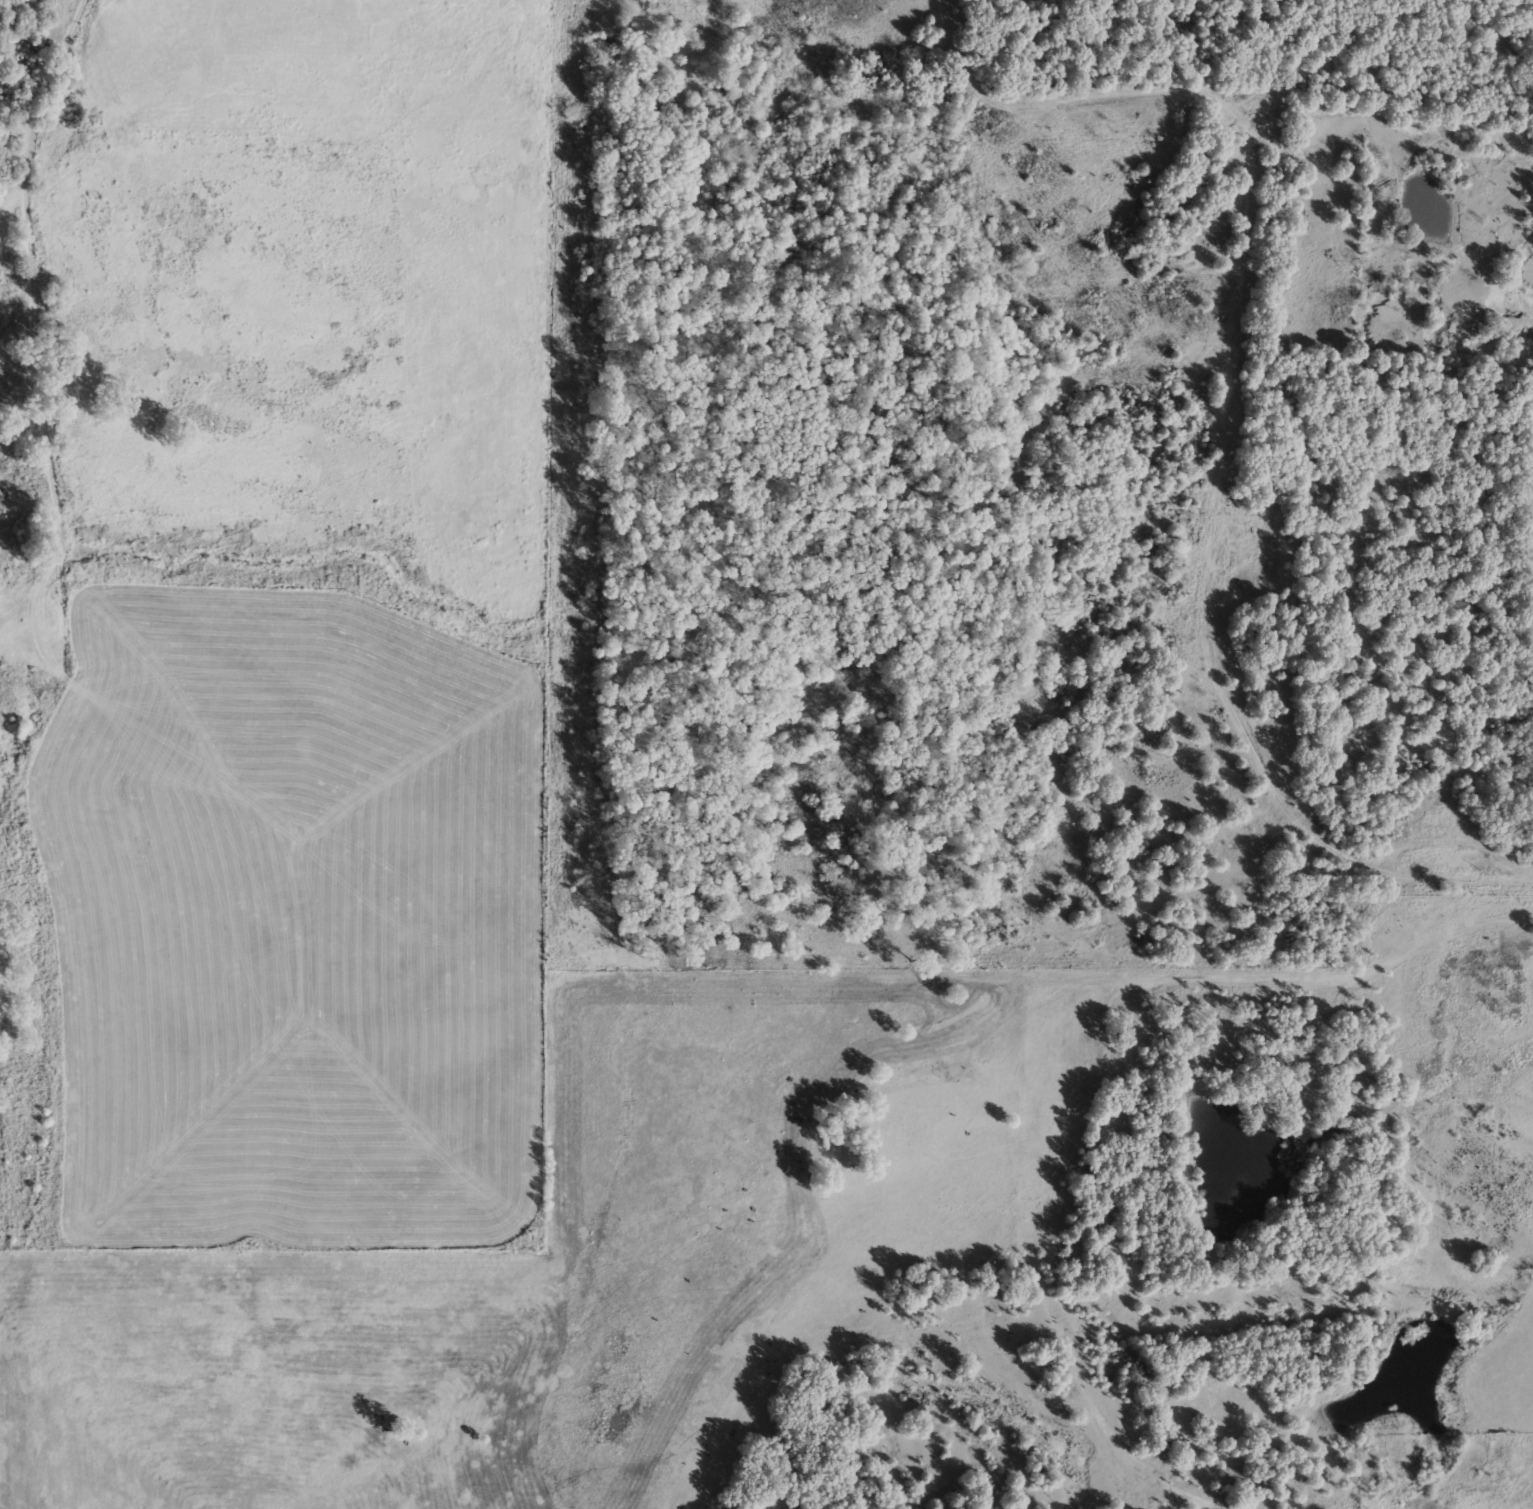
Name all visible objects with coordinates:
road: (1315, 861)

